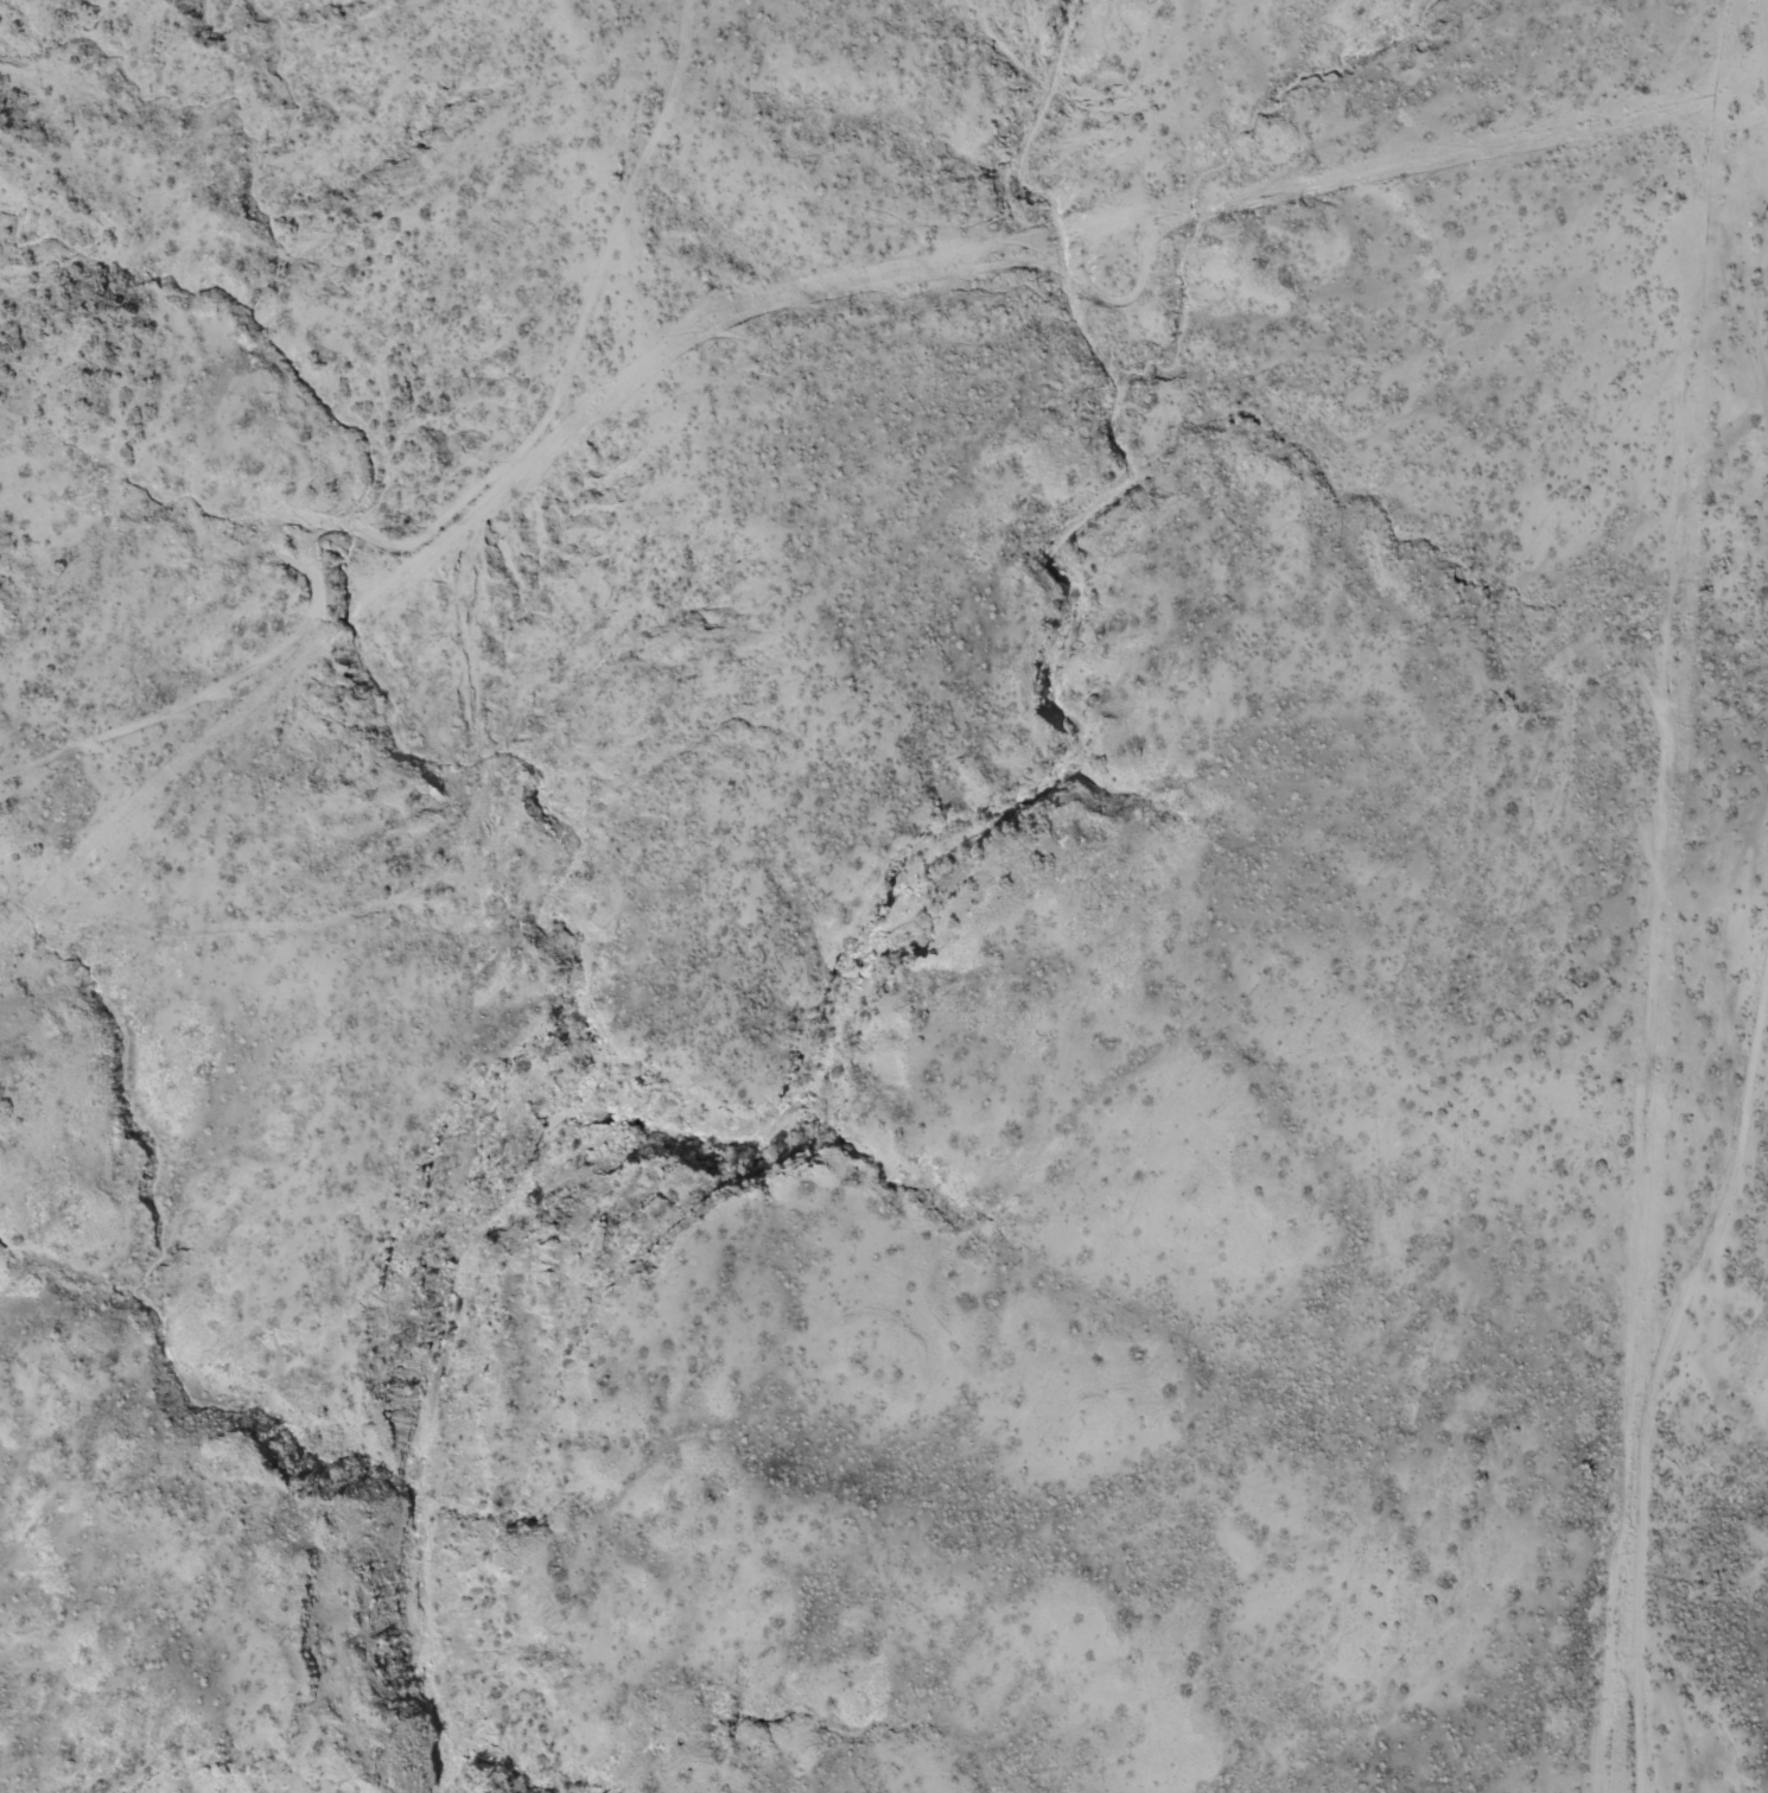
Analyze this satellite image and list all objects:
road: (1760, 132)
road: (1690, 1406)

